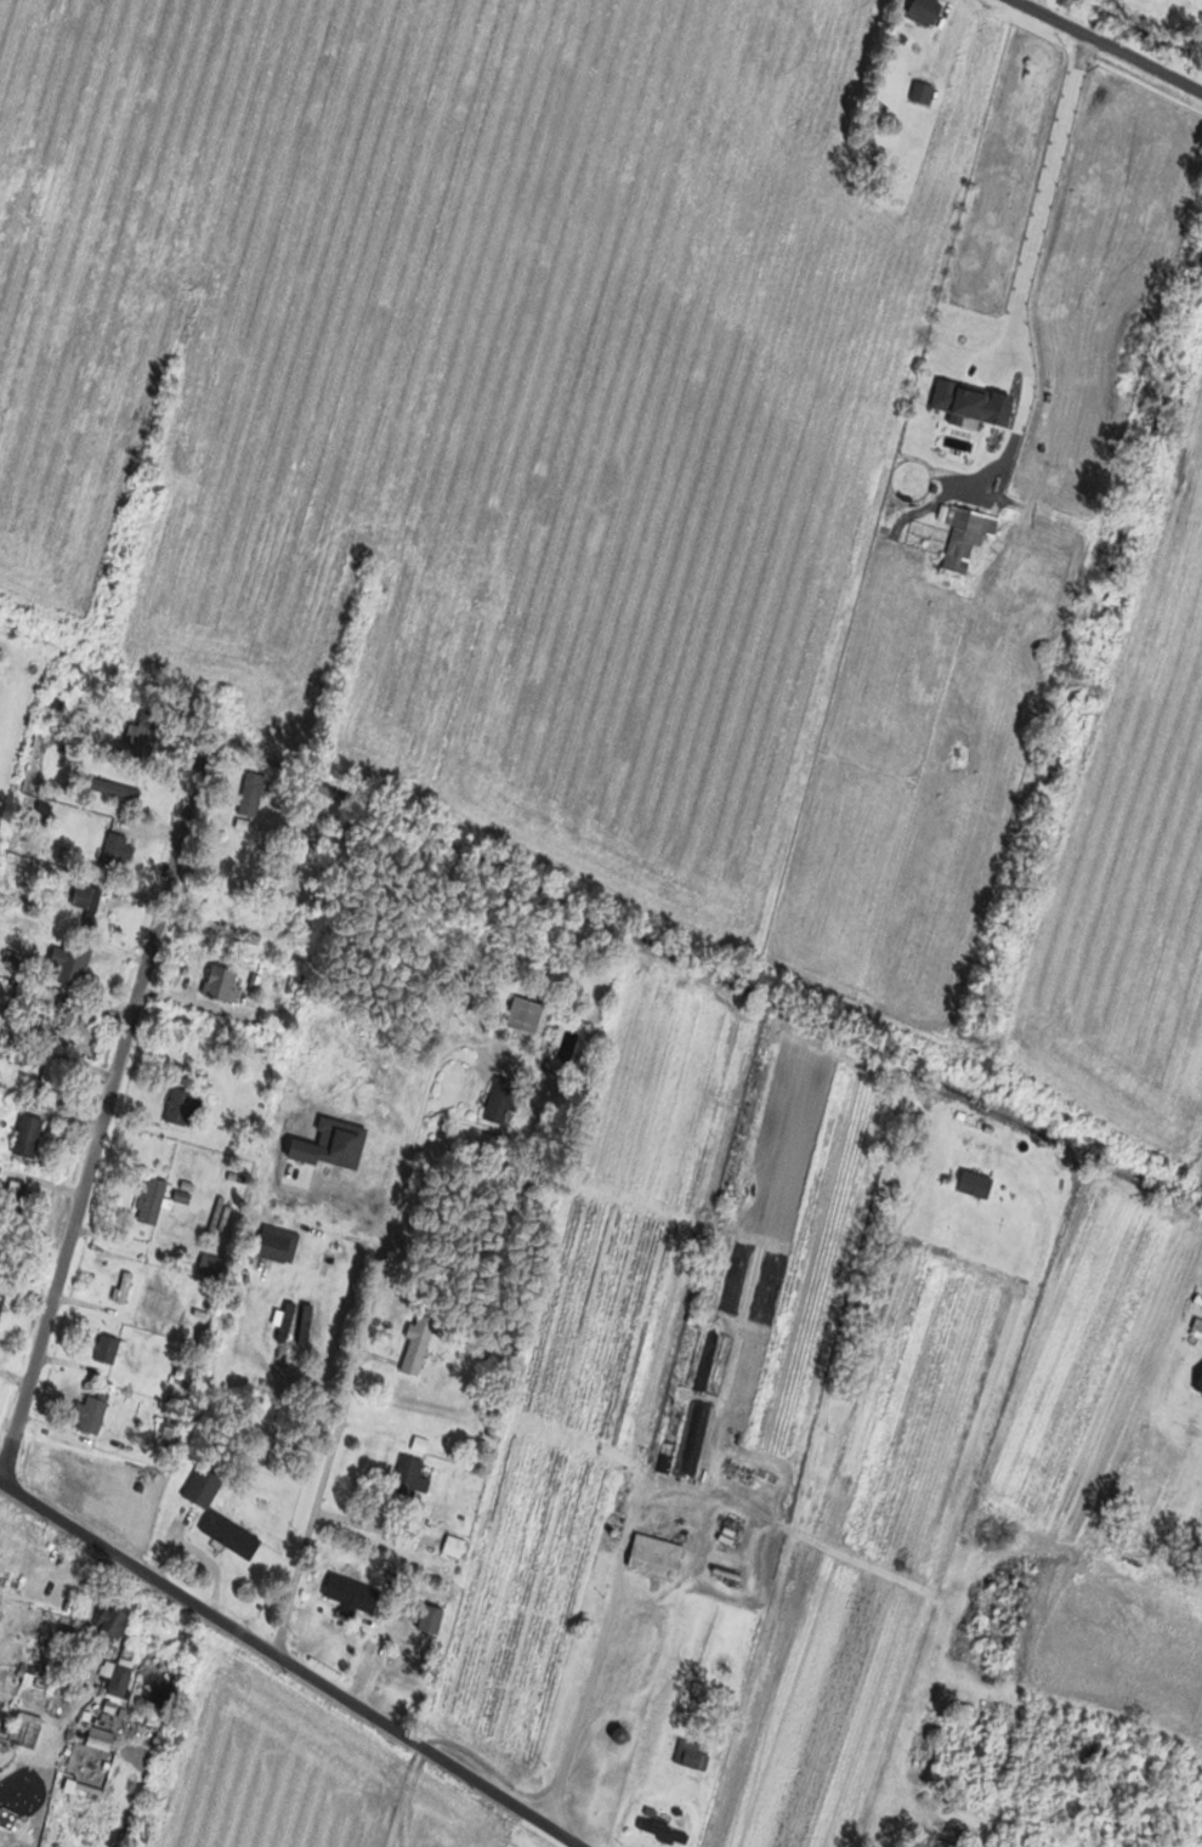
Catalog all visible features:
building: (925, 11)
road: (1107, 45)
building: (920, 92)
road: (1044, 186)
building: (958, 400)
building: (965, 536)
building: (146, 732)
building: (114, 848)
building: (239, 851)
building: (87, 902)
building: (234, 933)
building: (72, 957)
building: (525, 1014)
building: (55, 1019)
building: (503, 1101)
building: (182, 1107)
road: (103, 1111)
building: (28, 1135)
building: (975, 1184)
building: (15, 1196)
building: (151, 1200)
building: (273, 1247)
building: (209, 1264)
building: (124, 1287)
building: (1, 1302)
building: (290, 1322)
building: (419, 1336)
building: (106, 1349)
road: (351, 1355)
building: (183, 1373)
building: (92, 1412)
building: (407, 1475)
building: (204, 1488)
building: (231, 1536)
building: (453, 1547)
building: (656, 1557)
parking lot: (36, 1563)
road: (75, 1574)
building: (352, 1593)
building: (106, 1617)
building: (431, 1620)
road: (597, 1658)
road: (289, 1664)
building: (113, 1676)
building: (24, 1713)
building: (95, 1733)
building: (690, 1755)
road: (7, 1760)
crop: (296, 1774)
building: (663, 1829)

